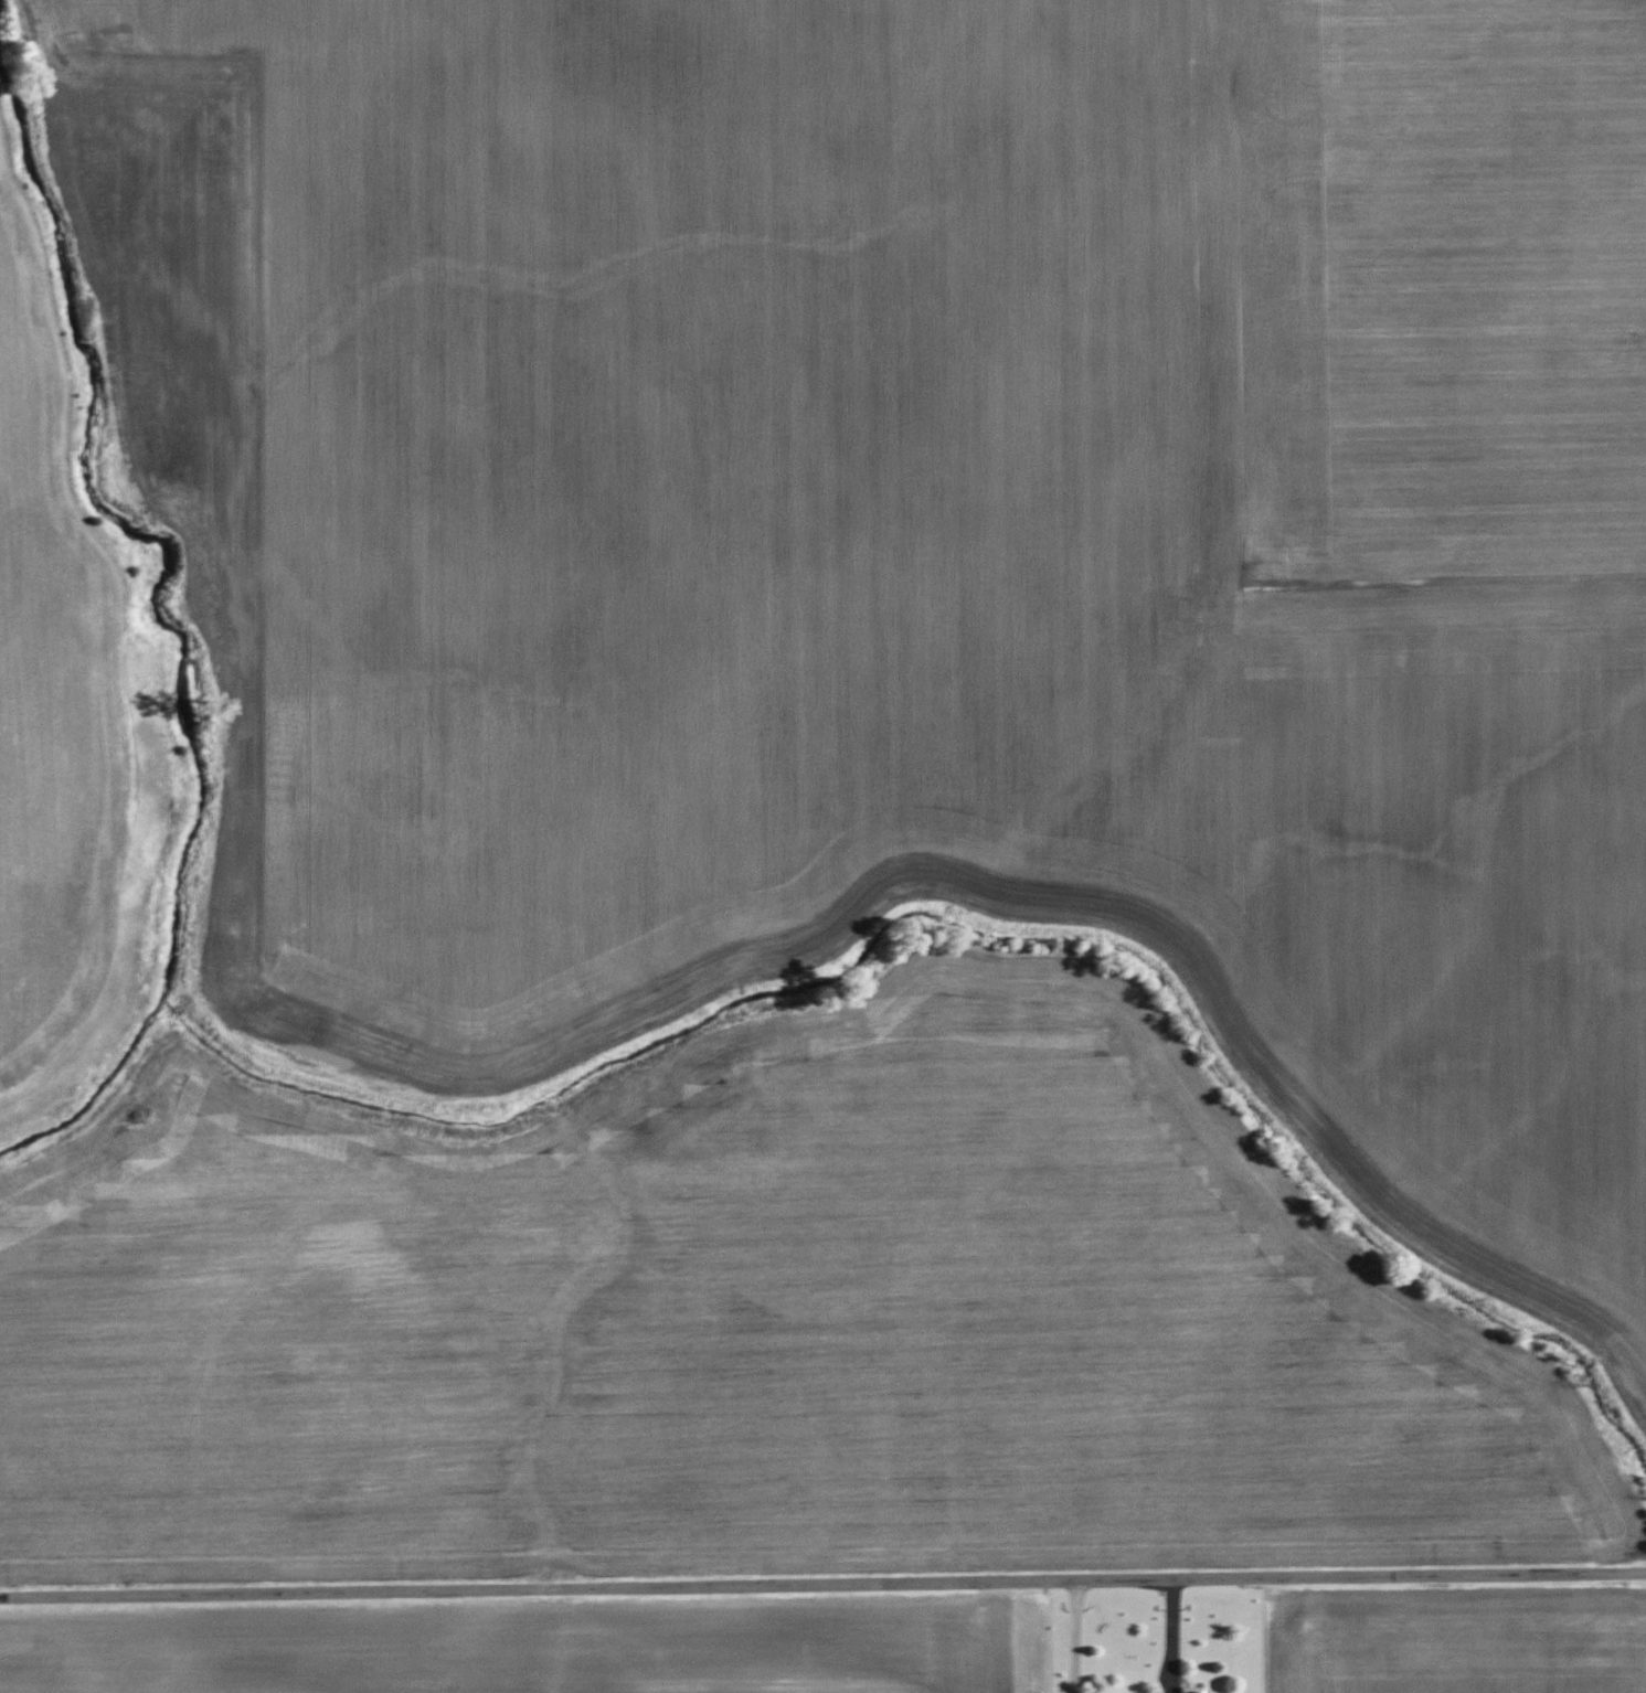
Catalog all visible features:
road: (822, 1578)
building: (1192, 1690)

